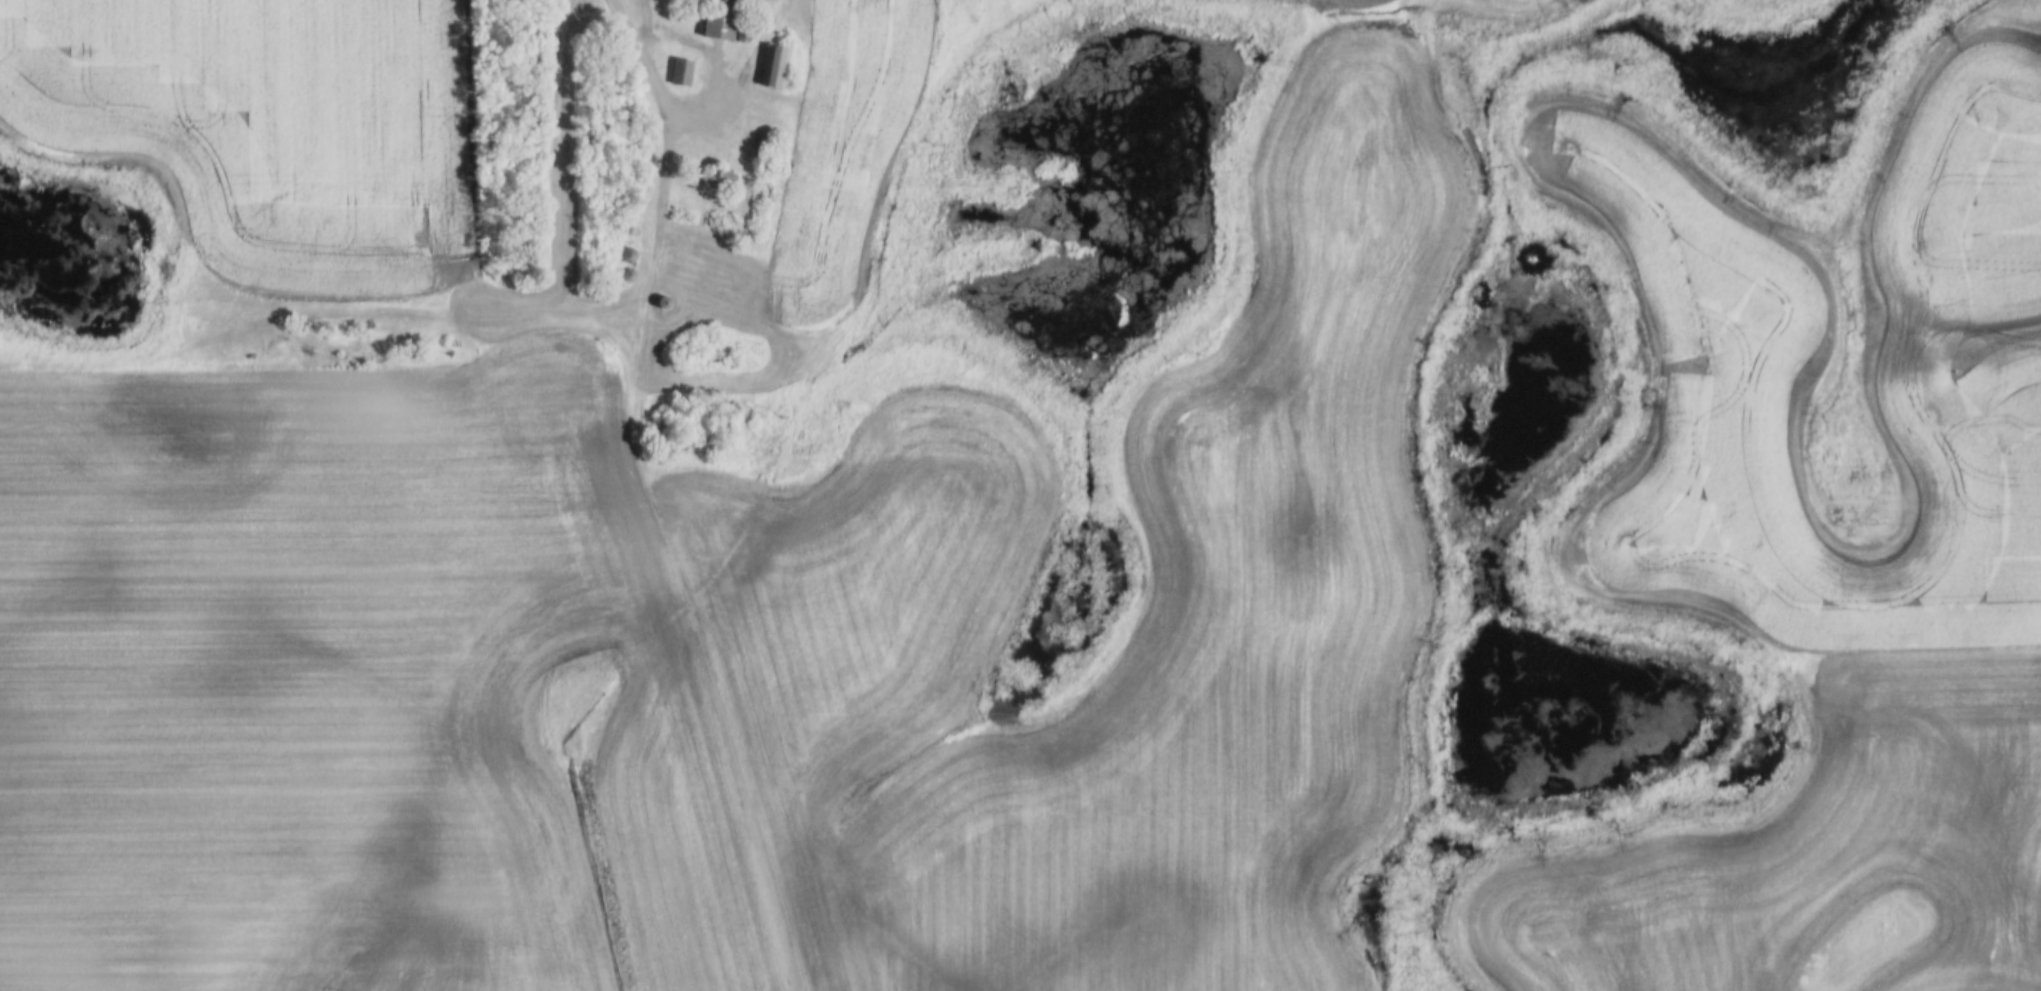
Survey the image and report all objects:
building: (719, 19)
building: (774, 67)
building: (680, 73)
road: (670, 176)
building: (717, 181)
building: (624, 255)
building: (626, 275)
building: (661, 303)

